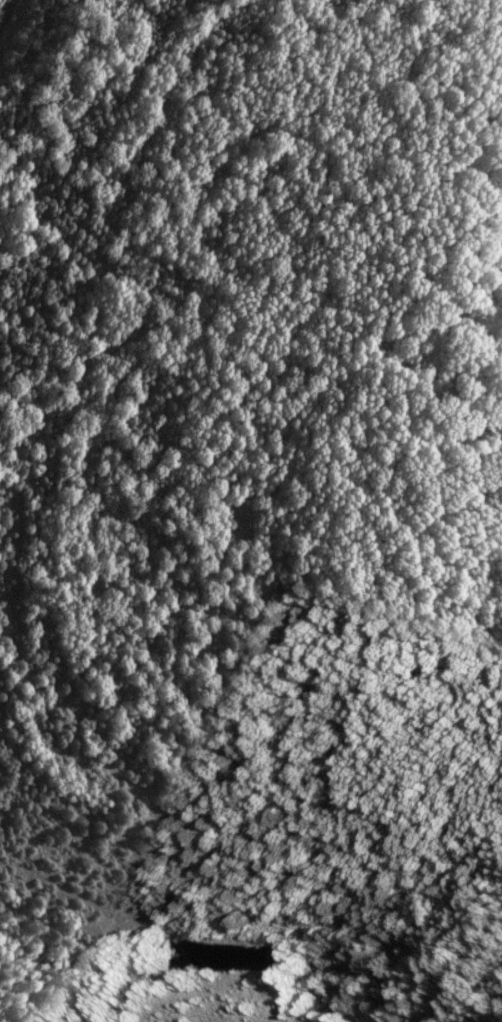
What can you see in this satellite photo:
railway: (4, 8)
airport: (266, 967)

